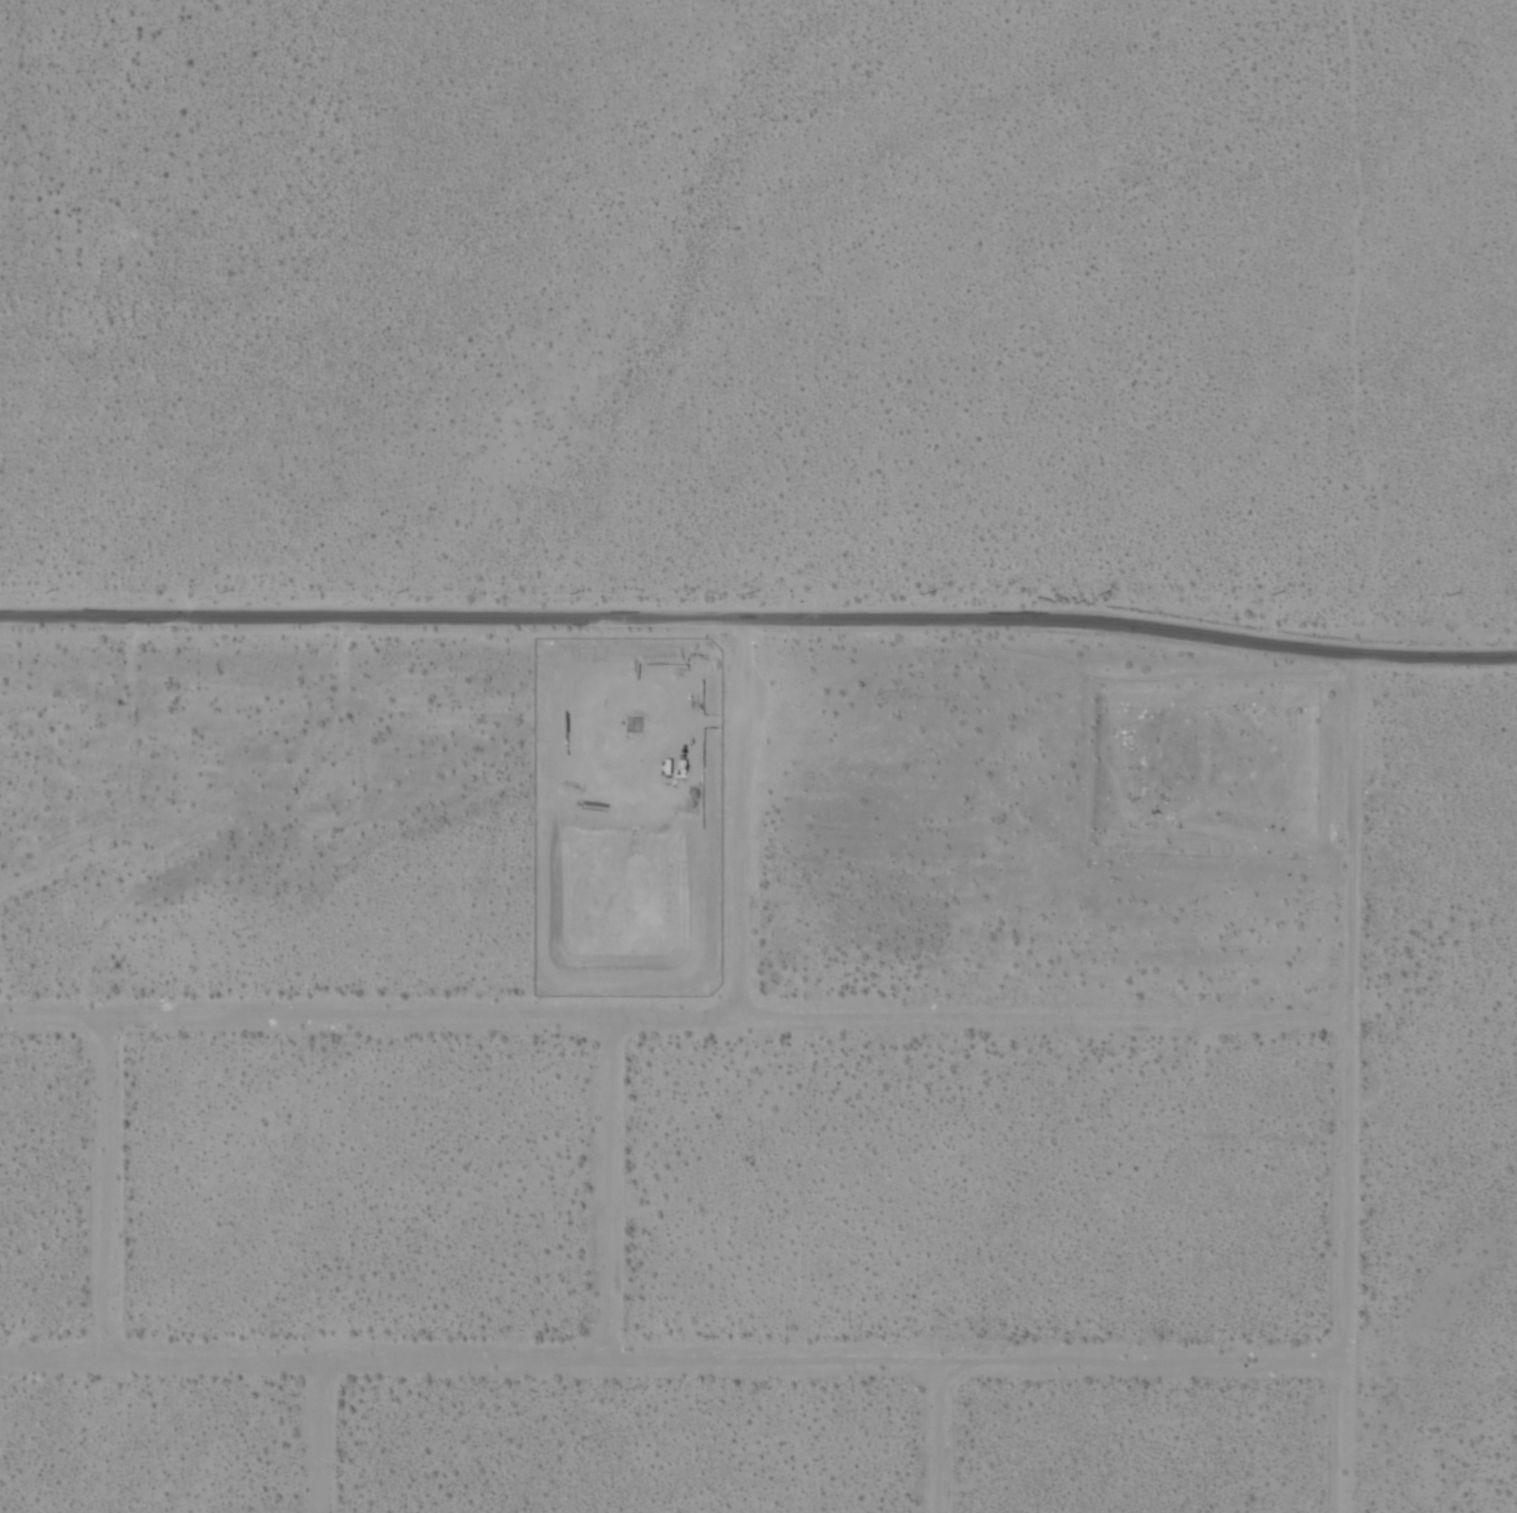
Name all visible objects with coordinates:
road: (759, 617)
road: (740, 817)
road: (671, 1017)
road: (1343, 1084)
road: (103, 1187)
road: (607, 1188)
road: (669, 1360)
road: (323, 1436)
road: (941, 1437)

